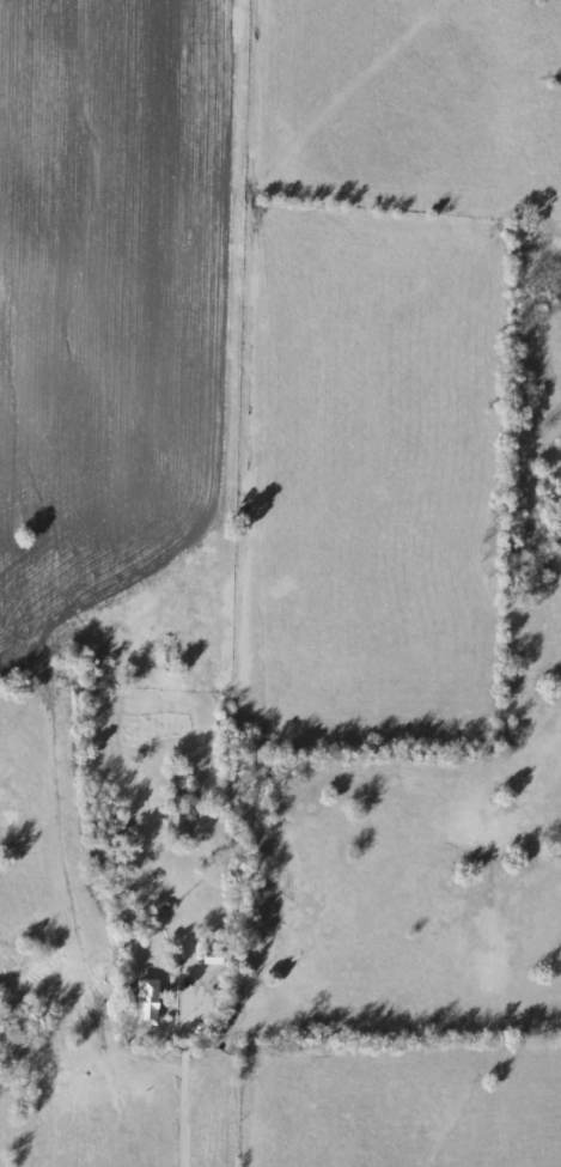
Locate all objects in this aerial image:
road: (158, 582)
building: (178, 821)
building: (126, 920)
building: (213, 958)
building: (150, 1003)
building: (211, 1003)

